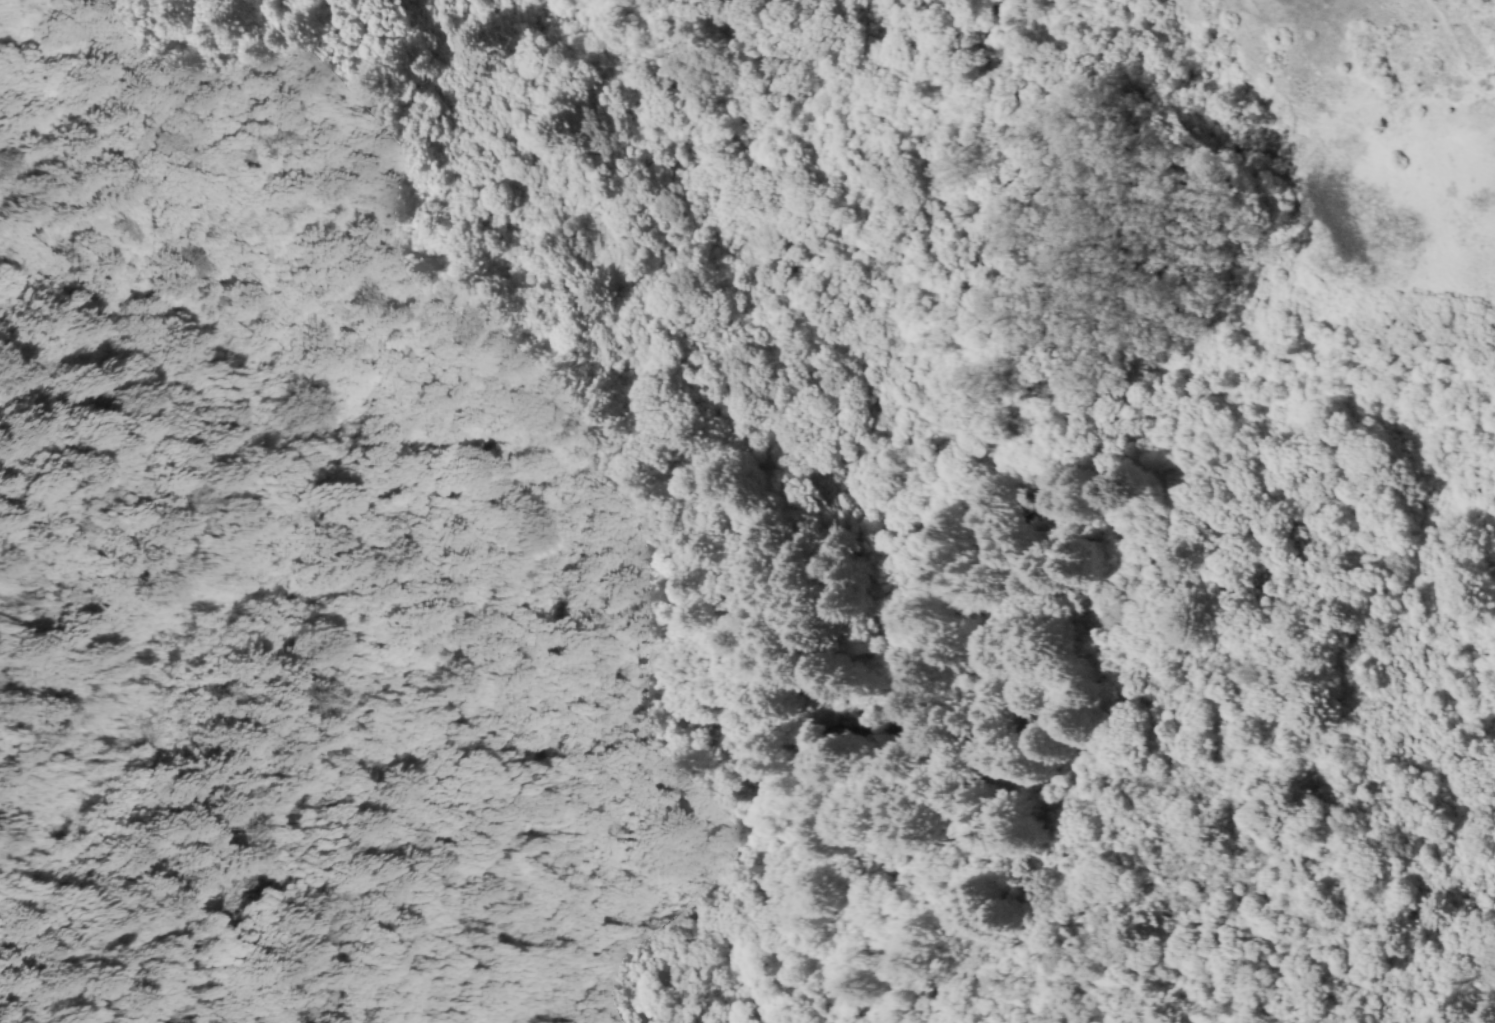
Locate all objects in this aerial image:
road: (1454, 60)

